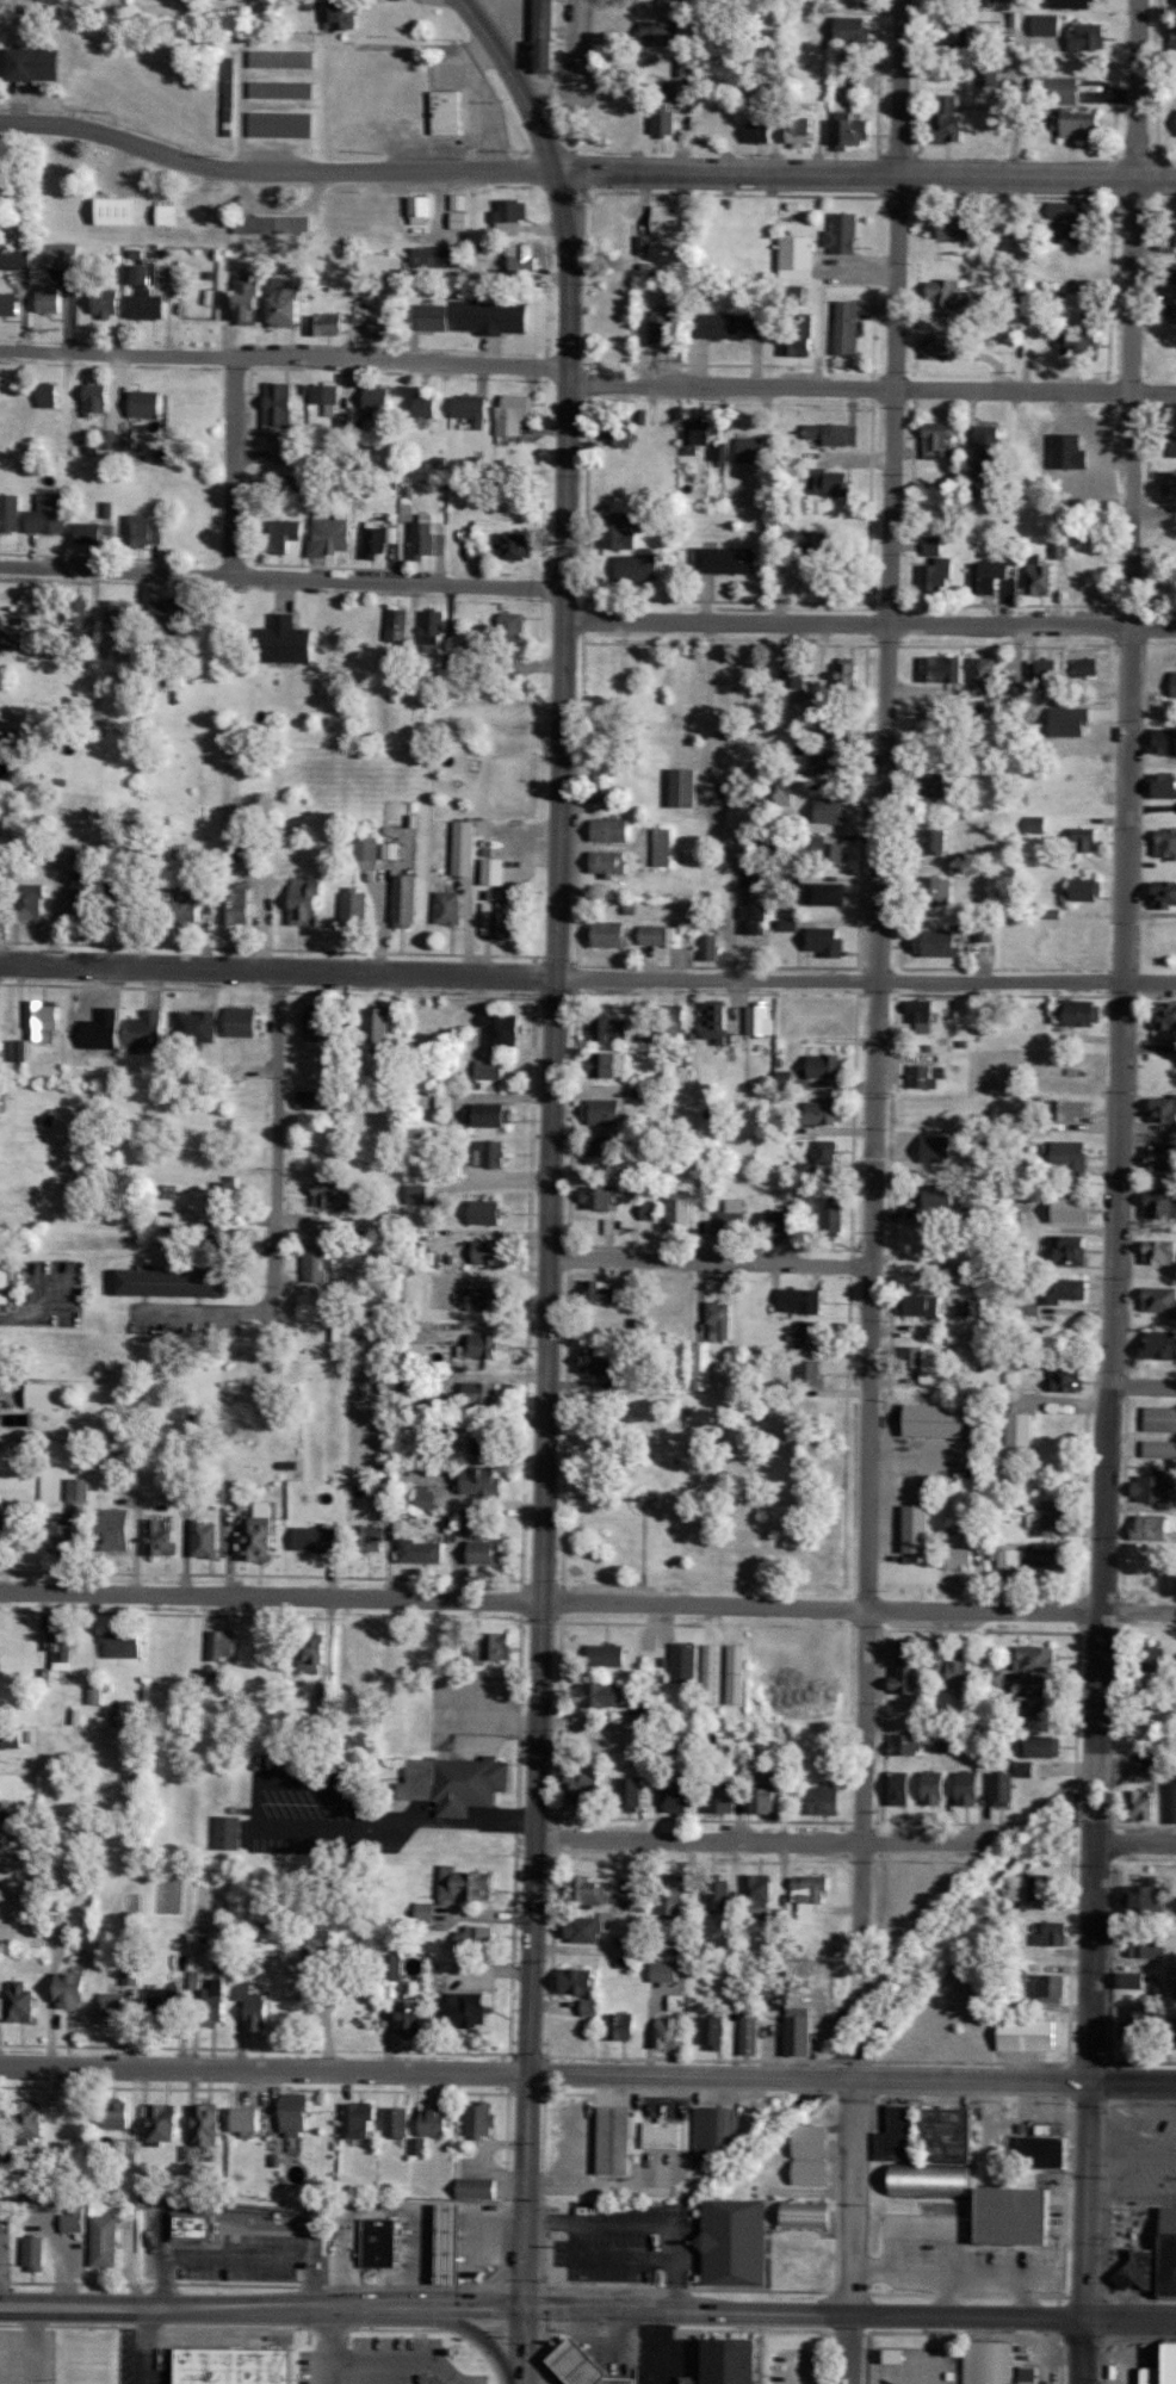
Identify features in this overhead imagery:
building: (996, 0)
building: (1174, 1)
building: (1075, 4)
road: (54, 8)
building: (341, 16)
building: (991, 20)
building: (1047, 24)
building: (850, 27)
building: (660, 32)
building: (545, 36)
building: (1088, 37)
building: (1172, 38)
building: (954, 39)
road: (574, 42)
road: (489, 44)
building: (283, 58)
building: (35, 63)
building: (989, 74)
building: (281, 89)
building: (1056, 89)
building: (230, 91)
building: (447, 112)
building: (664, 117)
building: (949, 120)
building: (281, 124)
building: (1082, 125)
road: (539, 129)
building: (760, 130)
building: (801, 130)
building: (855, 132)
road: (583, 169)
building: (458, 202)
building: (118, 210)
building: (421, 210)
building: (168, 213)
building: (509, 215)
building: (458, 219)
building: (668, 221)
building: (273, 224)
building: (963, 227)
building: (1078, 229)
building: (843, 233)
building: (644, 244)
building: (14, 255)
building: (63, 255)
building: (439, 256)
building: (798, 256)
building: (524, 260)
building: (146, 272)
building: (1175, 274)
building: (949, 293)
building: (47, 297)
building: (248, 297)
building: (286, 301)
building: (104, 302)
building: (8, 303)
building: (146, 304)
building: (1078, 304)
building: (1174, 310)
building: (432, 316)
building: (494, 316)
building: (379, 322)
building: (327, 323)
building: (731, 324)
building: (663, 327)
building: (847, 327)
building: (799, 335)
building: (1084, 342)
building: (939, 345)
road: (283, 355)
road: (871, 388)
building: (48, 394)
building: (95, 397)
building: (326, 397)
building: (375, 400)
building: (427, 402)
building: (146, 403)
building: (278, 405)
building: (472, 409)
building: (514, 413)
building: (619, 431)
building: (831, 432)
building: (700, 433)
building: (109, 439)
building: (937, 439)
building: (126, 442)
building: (1172, 445)
building: (751, 448)
building: (717, 451)
building: (1069, 451)
building: (290, 454)
building: (984, 458)
road: (229, 464)
building: (833, 482)
building: (1169, 482)
building: (10, 510)
building: (48, 513)
building: (142, 528)
building: (621, 531)
building: (92, 532)
building: (281, 532)
building: (328, 534)
building: (427, 537)
building: (377, 539)
building: (477, 541)
building: (513, 544)
building: (811, 544)
building: (933, 545)
building: (1059, 550)
building: (725, 559)
building: (637, 566)
building: (939, 574)
building: (1041, 575)
road: (281, 577)
building: (992, 577)
building: (173, 609)
building: (117, 611)
building: (80, 613)
building: (0, 617)
road: (869, 620)
building: (394, 624)
building: (510, 624)
building: (431, 626)
building: (134, 637)
building: (14, 638)
building: (284, 640)
building: (1088, 665)
building: (943, 668)
building: (793, 673)
building: (1045, 673)
building: (984, 674)
building: (847, 675)
building: (1016, 683)
building: (1175, 686)
road: (707, 699)
building: (1071, 720)
building: (1164, 739)
building: (834, 761)
building: (604, 774)
building: (931, 784)
building: (1163, 785)
building: (685, 786)
building: (781, 791)
building: (833, 810)
building: (4, 824)
building: (1036, 824)
building: (609, 829)
building: (1088, 840)
building: (934, 841)
building: (1165, 842)
building: (463, 847)
building: (662, 847)
building: (366, 848)
building: (827, 848)
building: (391, 850)
building: (69, 855)
building: (609, 862)
building: (23, 863)
building: (493, 871)
road: (558, 884)
building: (937, 888)
building: (1084, 888)
building: (827, 893)
building: (1164, 893)
building: (753, 897)
building: (82, 898)
building: (125, 898)
building: (305, 900)
building: (404, 900)
building: (30, 902)
building: (191, 902)
building: (236, 905)
building: (354, 906)
building: (447, 906)
road: (1149, 912)
building: (499, 918)
building: (787, 924)
building: (983, 933)
building: (609, 934)
building: (662, 935)
building: (827, 941)
building: (939, 942)
building: (708, 947)
road: (875, 974)
road: (587, 979)
building: (1076, 1013)
building: (921, 1015)
building: (1165, 1015)
building: (43, 1017)
building: (761, 1020)
building: (243, 1021)
building: (716, 1021)
building: (318, 1024)
building: (377, 1024)
building: (197, 1026)
building: (503, 1028)
building: (612, 1028)
building: (147, 1030)
building: (17, 1049)
building: (606, 1064)
building: (824, 1066)
building: (490, 1069)
building: (923, 1077)
building: (309, 1098)
building: (0, 1104)
building: (1075, 1109)
building: (1163, 1109)
building: (606, 1111)
building: (822, 1111)
building: (491, 1115)
building: (605, 1146)
building: (936, 1147)
building: (494, 1152)
building: (825, 1152)
building: (1070, 1157)
building: (1159, 1158)
building: (172, 1190)
road: (1114, 1191)
building: (225, 1193)
building: (417, 1194)
building: (332, 1195)
building: (939, 1196)
building: (598, 1197)
building: (1160, 1203)
building: (649, 1209)
building: (1073, 1209)
building: (488, 1212)
building: (681, 1214)
building: (834, 1215)
building: (731, 1218)
building: (780, 1222)
building: (227, 1236)
building: (1071, 1247)
building: (491, 1252)
building: (1159, 1252)
road: (708, 1258)
building: (317, 1264)
road: (272, 1278)
building: (10, 1281)
building: (175, 1282)
building: (1067, 1289)
building: (602, 1290)
building: (481, 1299)
building: (801, 1300)
building: (1159, 1300)
building: (924, 1305)
building: (316, 1307)
building: (720, 1320)
building: (342, 1330)
building: (809, 1338)
building: (481, 1345)
building: (1160, 1345)
building: (916, 1357)
building: (598, 1361)
building: (702, 1364)
building: (811, 1371)
building: (1066, 1377)
building: (627, 1381)
road: (1141, 1381)
building: (483, 1392)
building: (45, 1395)
building: (1159, 1419)
road: (563, 1423)
building: (927, 1423)
building: (1011, 1431)
building: (484, 1442)
building: (1159, 1449)
building: (478, 1480)
building: (79, 1488)
building: (1155, 1488)
park: (702, 1490)
road: (640, 1497)
building: (426, 1500)
building: (1051, 1516)
building: (457, 1519)
building: (17, 1524)
building: (1153, 1528)
building: (118, 1529)
building: (952, 1530)
building: (909, 1531)
building: (259, 1532)
building: (61, 1536)
building: (161, 1537)
building: (370, 1537)
building: (316, 1538)
building: (205, 1540)
building: (421, 1550)
building: (484, 1552)
building: (961, 1559)
building: (1007, 1559)
building: (1047, 1560)
road: (587, 1602)
building: (223, 1643)
building: (124, 1645)
road: (556, 1645)
building: (61, 1646)
building: (490, 1647)
building: (311, 1655)
building: (606, 1655)
building: (1150, 1657)
building: (1036, 1658)
building: (683, 1662)
building: (939, 1664)
building: (708, 1673)
building: (735, 1674)
building: (961, 1674)
building: (992, 1680)
building: (94, 1693)
building: (600, 1695)
building: (1035, 1701)
building: (321, 1703)
building: (12, 1738)
building: (640, 1740)
building: (948, 1744)
building: (905, 1745)
building: (1041, 1746)
building: (1023, 1767)
building: (458, 1783)
building: (582, 1787)
building: (900, 1788)
building: (934, 1788)
building: (967, 1788)
building: (627, 1789)
building: (1001, 1789)
building: (767, 1794)
building: (674, 1796)
building: (718, 1800)
building: (827, 1801)
building: (1143, 1806)
road: (299, 1828)
building: (227, 1832)
road: (763, 1837)
road: (1134, 1838)
building: (466, 1883)
building: (1038, 1887)
building: (587, 1891)
building: (759, 1891)
building: (718, 1894)
building: (809, 1896)
building: (1146, 1900)
building: (670, 1902)
building: (0, 1908)
building: (425, 1912)
building: (278, 1915)
building: (584, 1928)
building: (1051, 1934)
building: (474, 1938)
building: (316, 1944)
building: (1149, 1945)
road: (531, 1951)
building: (623, 1951)
building: (663, 1970)
building: (131, 1973)
building: (194, 1979)
building: (577, 1980)
building: (1132, 1980)
building: (1052, 1988)
building: (72, 1989)
building: (161, 2000)
building: (213, 2000)
building: (19, 2002)
building: (252, 2006)
building: (113, 2007)
building: (589, 2007)
building: (464, 2008)
building: (411, 2018)
building: (1135, 2024)
building: (620, 2025)
building: (748, 2030)
building: (712, 2031)
building: (663, 2032)
building: (798, 2033)
building: (1028, 2035)
building: (1175, 2037)
road: (587, 2072)
building: (114, 2117)
building: (296, 2117)
building: (249, 2118)
building: (360, 2118)
building: (29, 2119)
building: (479, 2119)
building: (396, 2120)
building: (434, 2122)
building: (161, 2123)
building: (209, 2124)
building: (662, 2134)
building: (714, 2135)
building: (897, 2135)
building: (946, 2135)
building: (604, 2142)
building: (416, 2145)
parking lot: (1141, 2145)
building: (1044, 2147)
building: (60, 2150)
building: (187, 2153)
building: (813, 2154)
building: (921, 2175)
building: (477, 2188)
road: (380, 2207)
building: (798, 2211)
building: (1003, 2218)
building: (72, 2219)
building: (5, 2221)
building: (194, 2225)
road: (637, 2225)
road: (849, 2229)
building: (105, 2240)
building: (379, 2242)
building: (737, 2242)
building: (452, 2243)
building: (440, 2247)
building: (33, 2252)
road: (608, 2256)
road: (231, 2258)
building: (1156, 2262)
road: (262, 2306)
road: (850, 2309)
road: (143, 2316)
road: (1109, 2329)
road: (327, 2332)
road: (31, 2336)
road: (525, 2343)
road: (141, 2355)
parking lot: (136, 2357)
road: (392, 2358)
road: (32, 2360)
parking lot: (25, 2361)
building: (979, 2363)
building: (722, 2364)
building: (1174, 2364)
building: (236, 2366)
building: (570, 2367)
road: (324, 2370)
building: (1153, 2374)

